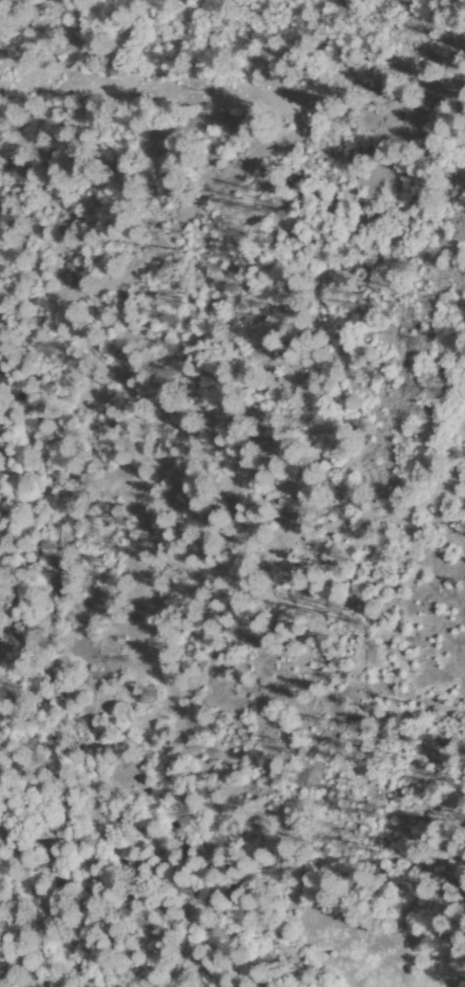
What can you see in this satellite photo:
road: (202, 503)

